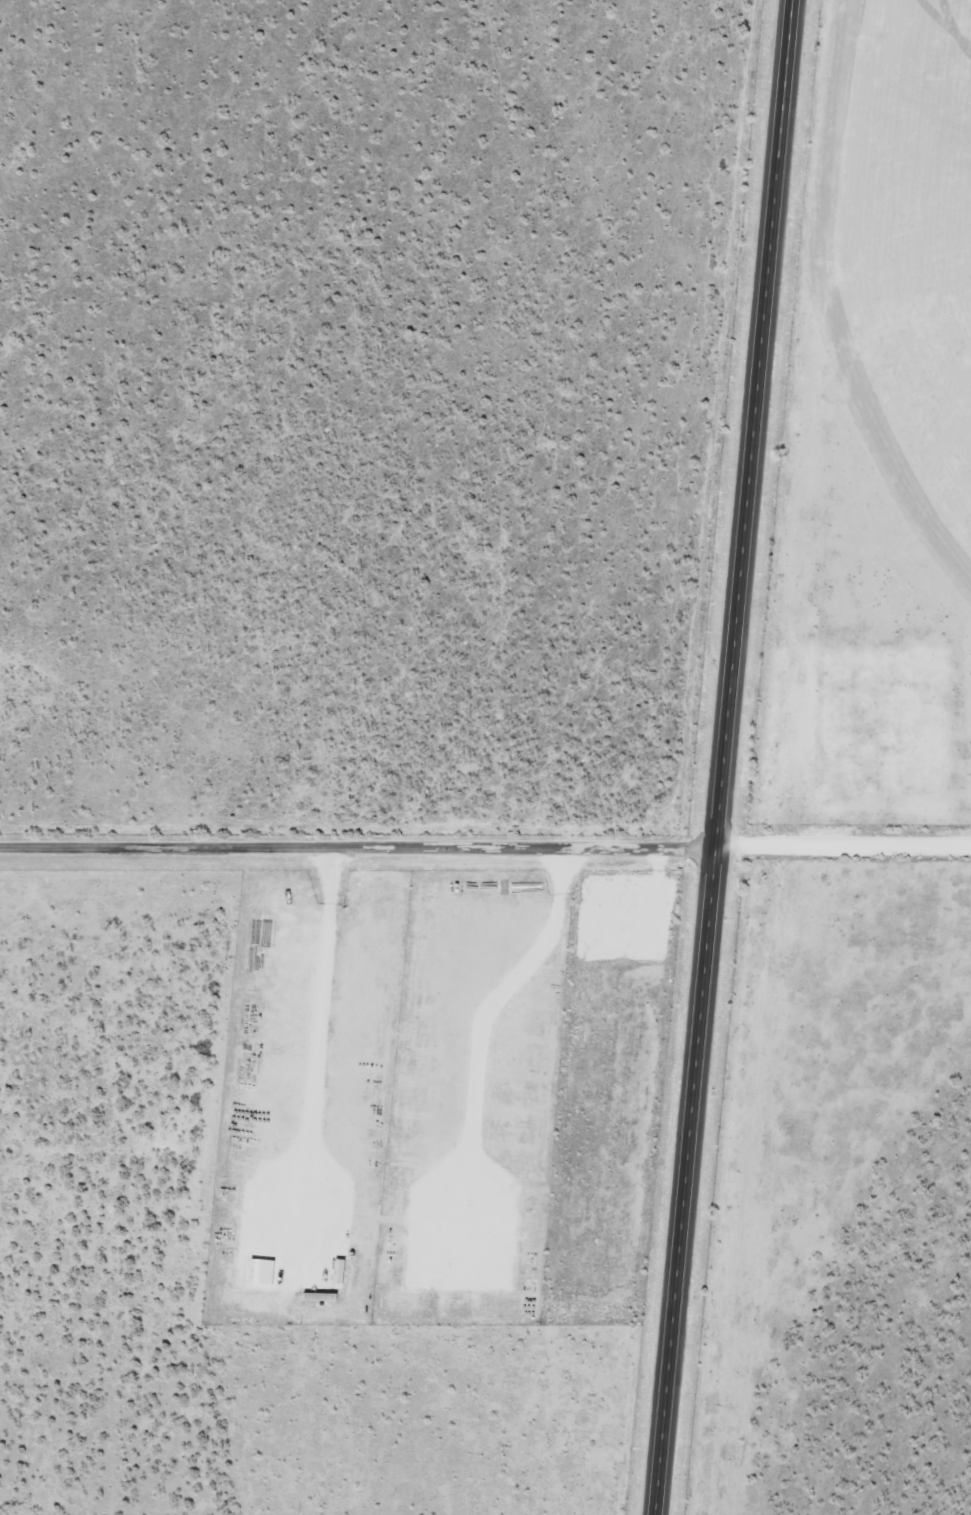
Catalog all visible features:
road: (721, 757)
road: (356, 851)
road: (841, 853)

